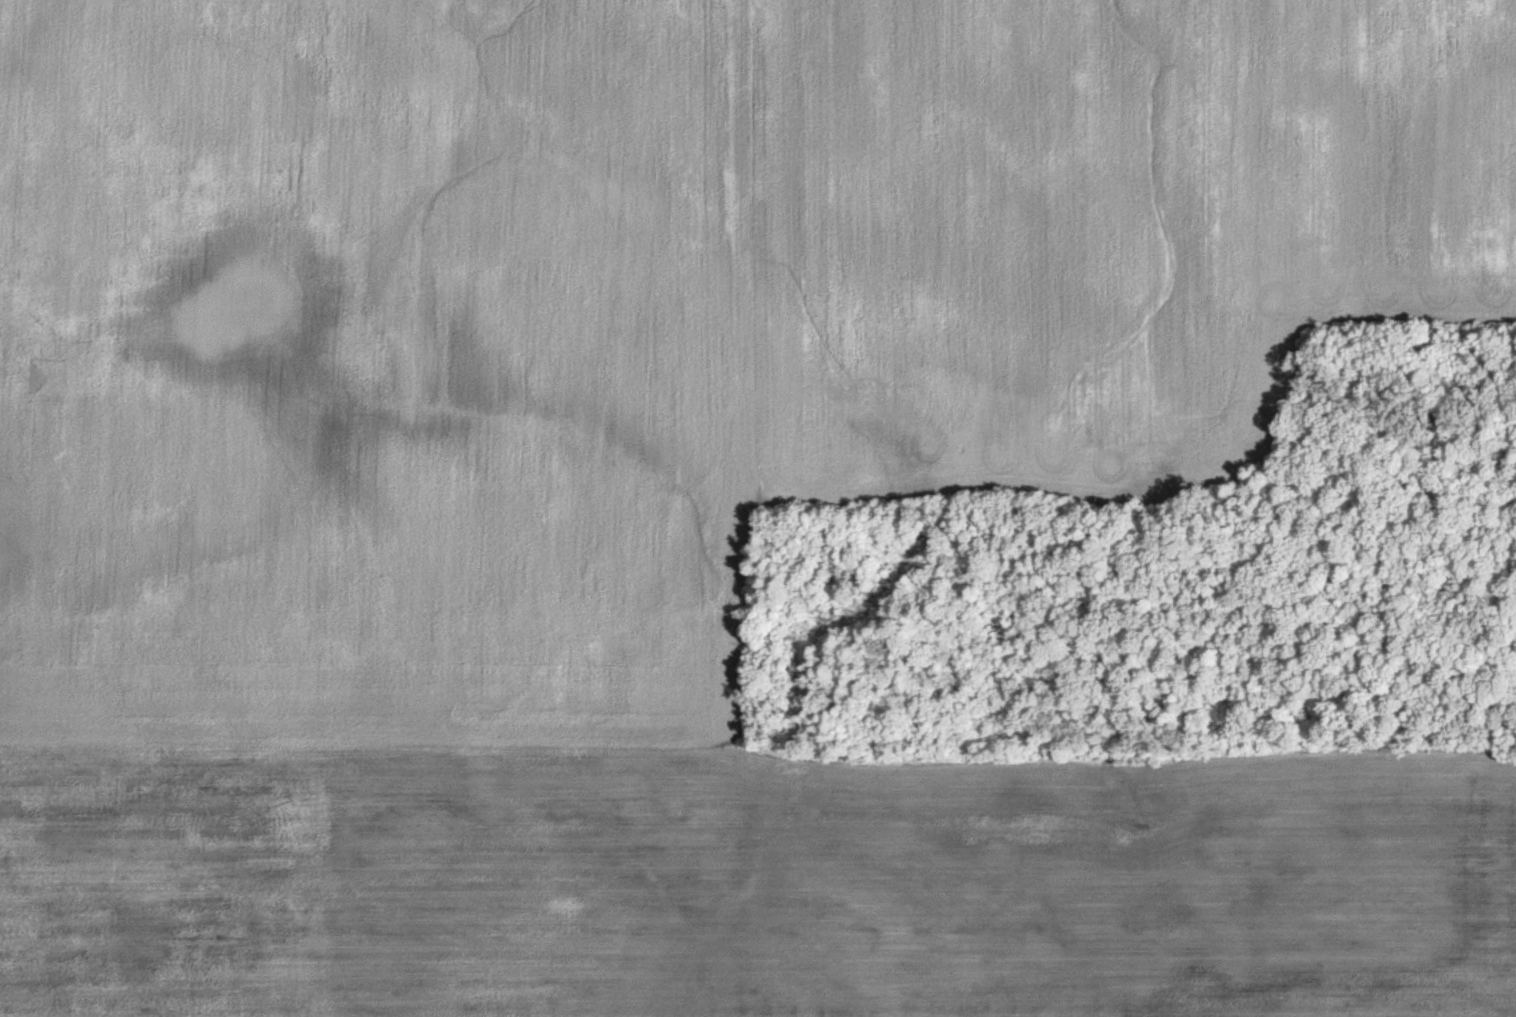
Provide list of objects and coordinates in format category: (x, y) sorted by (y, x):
crop: (1097, 233)
crop: (372, 367)
crop: (743, 882)

